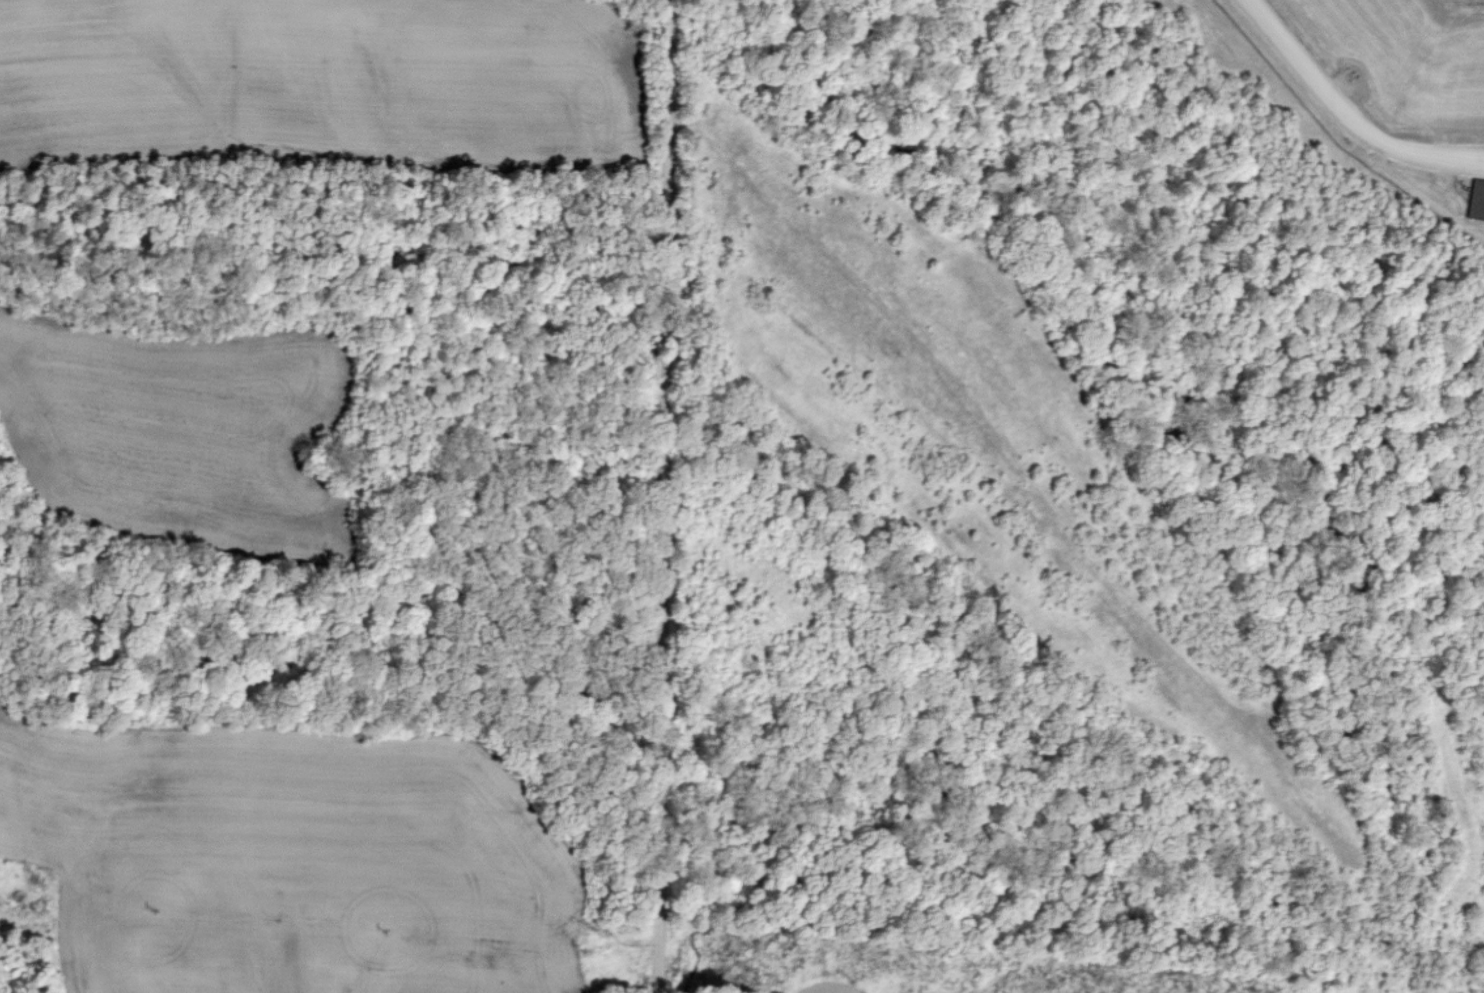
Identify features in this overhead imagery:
building: (1477, 201)
road: (662, 496)

